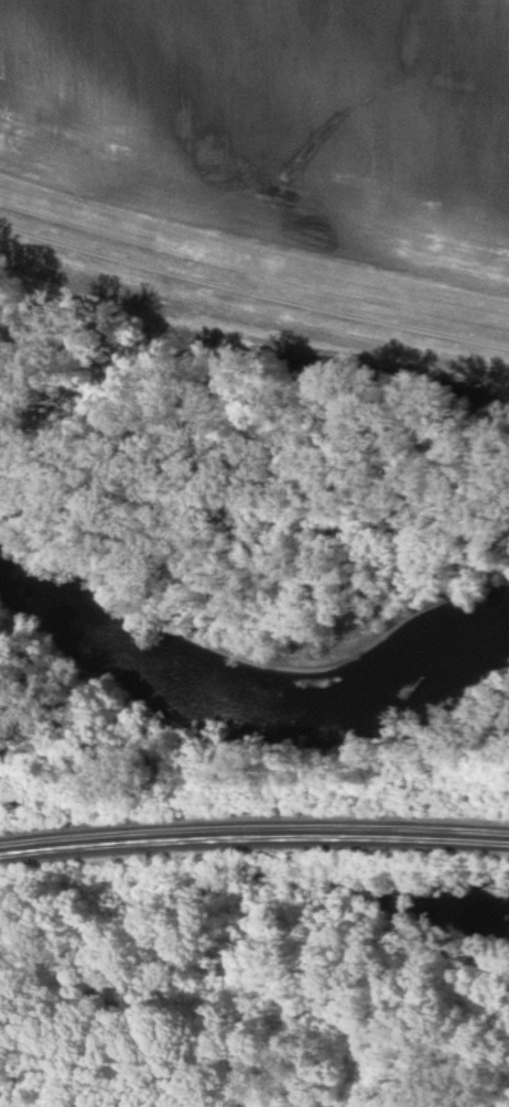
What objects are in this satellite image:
crop: (277, 119)
road: (252, 287)
river: (241, 697)
railway: (253, 822)
railway: (253, 833)

